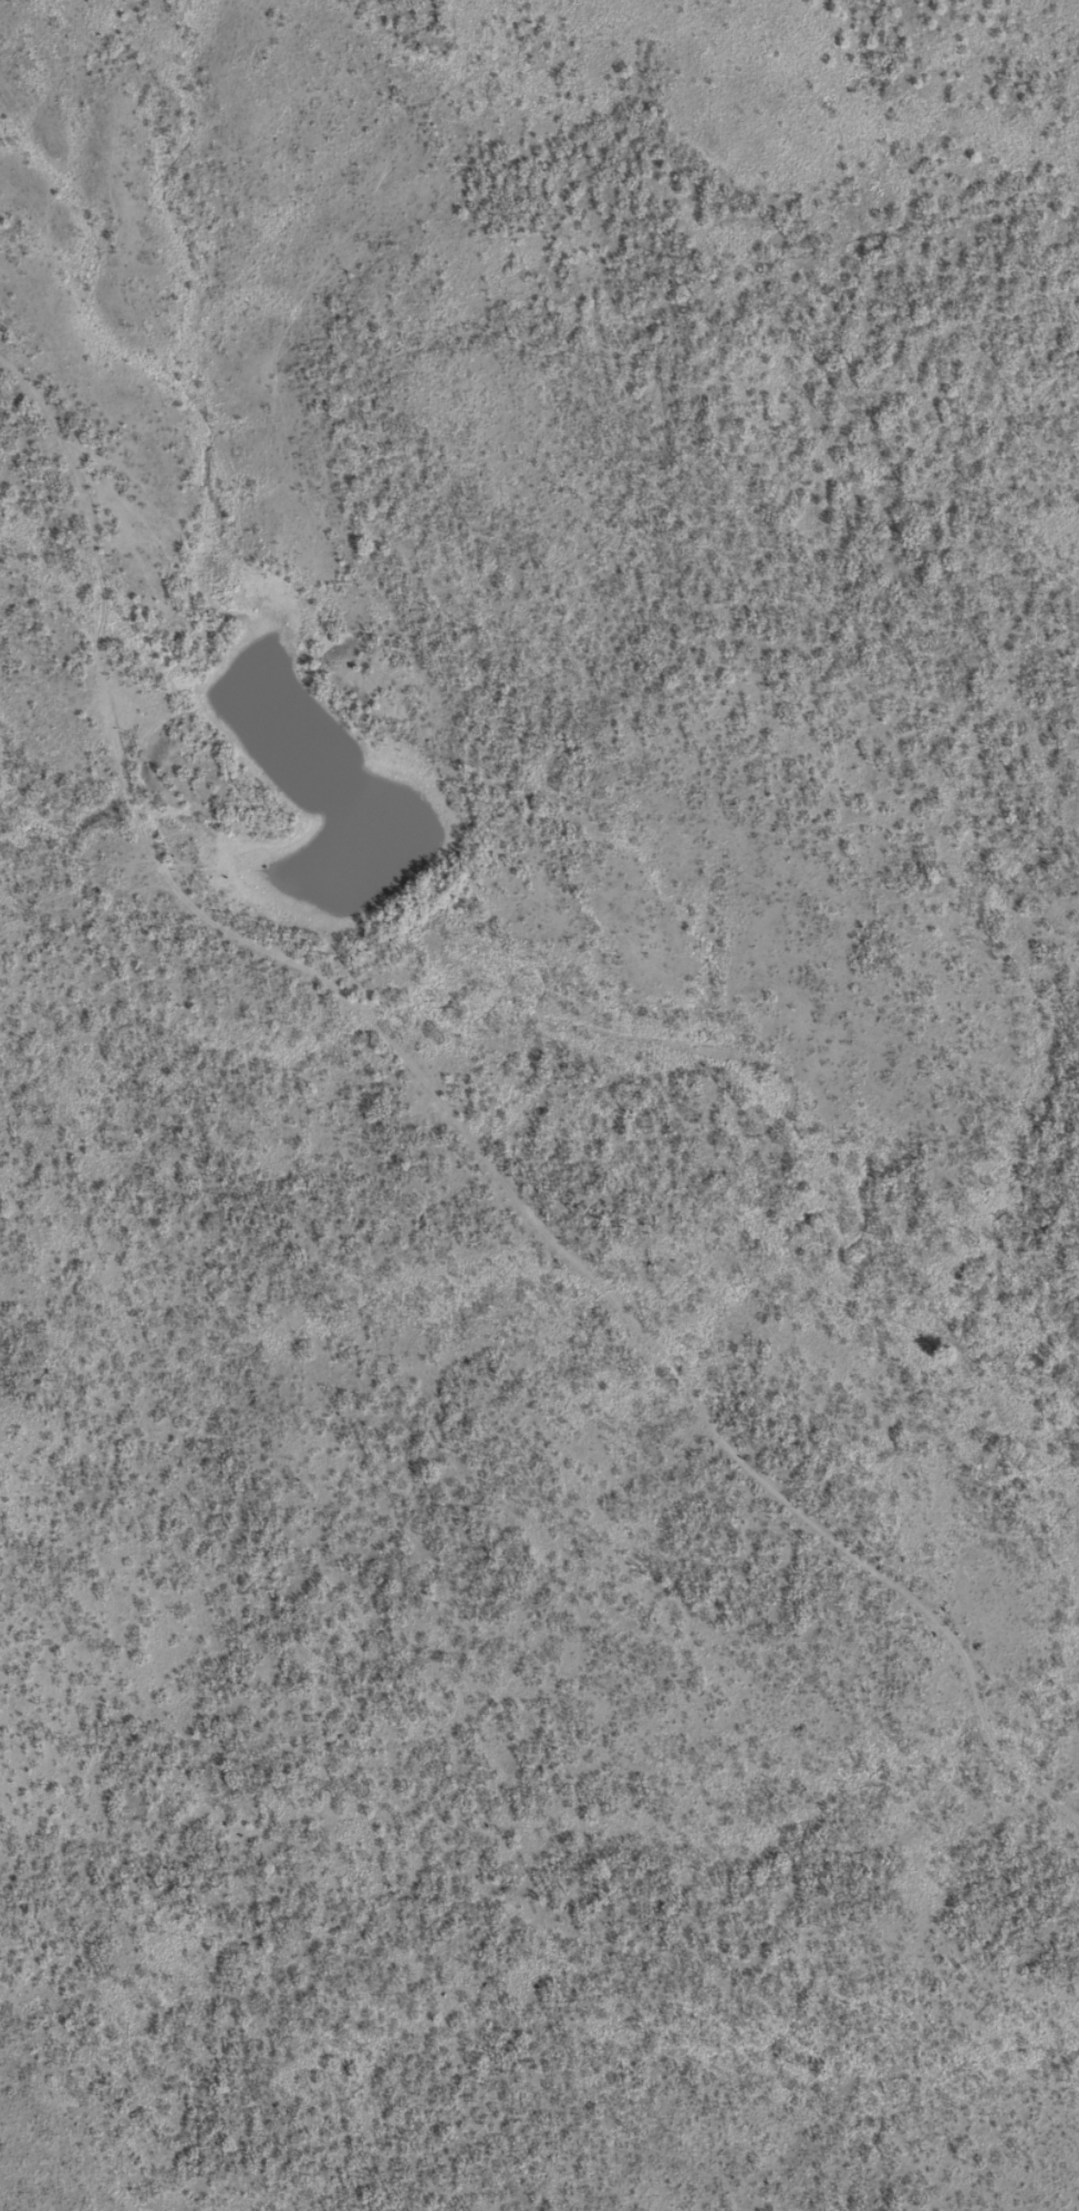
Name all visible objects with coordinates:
road: (461, 1140)

